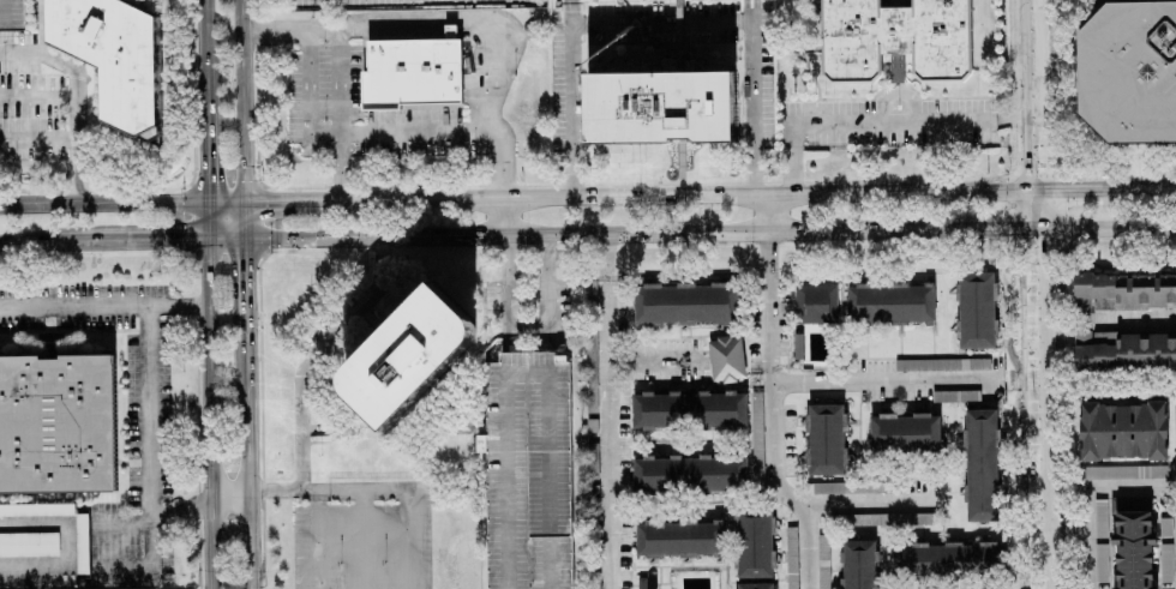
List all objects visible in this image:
building: (11, 13)
parking garage: (11, 13)
road: (658, 25)
road: (445, 26)
road: (272, 31)
building: (894, 40)
building: (118, 55)
road: (203, 58)
building: (410, 72)
building: (1129, 72)
road: (306, 83)
road: (78, 95)
flagpole: (823, 95)
flagpole: (832, 95)
road: (1033, 95)
road: (568, 97)
road: (749, 100)
road: (241, 101)
building: (92, 106)
building: (659, 107)
flagpole: (896, 107)
road: (335, 115)
road: (876, 120)
parking lot: (892, 122)
road: (40, 131)
road: (396, 133)
road: (498, 163)
traffic signals: (1034, 172)
road: (204, 176)
traffic signals: (205, 185)
road: (1148, 188)
traffic signals: (1070, 190)
road: (1078, 190)
road: (678, 194)
road: (263, 202)
traffic signals: (266, 202)
road: (102, 203)
road: (1036, 209)
road: (764, 212)
road: (498, 216)
road: (1105, 227)
road: (990, 228)
traffic signals: (1008, 228)
road: (595, 233)
traffic signals: (188, 239)
road: (167, 240)
road: (44, 245)
traffic signals: (1037, 251)
road: (611, 257)
road: (246, 263)
traffic signals: (246, 263)
building: (1124, 290)
road: (770, 300)
building: (685, 303)
building: (815, 303)
building: (889, 303)
road: (101, 306)
building: (976, 309)
road: (1128, 315)
road: (340, 327)
road: (523, 336)
building: (1124, 350)
building: (410, 356)
road: (656, 359)
building: (726, 359)
building: (941, 363)
road: (888, 377)
road: (1020, 379)
building: (953, 396)
road: (1040, 408)
building: (689, 410)
road: (206, 413)
building: (56, 423)
building: (1122, 431)
building: (904, 433)
road: (614, 434)
building: (826, 439)
road: (778, 446)
road: (246, 457)
building: (980, 464)
road: (151, 468)
building: (528, 470)
building: (1121, 471)
building: (689, 473)
road: (1099, 485)
building: (844, 487)
road: (259, 493)
road: (827, 501)
road: (364, 509)
building: (36, 510)
building: (1099, 517)
road: (120, 523)
road: (44, 524)
building: (1164, 527)
road: (1086, 536)
parking lot: (368, 537)
building: (679, 537)
building: (1132, 542)
building: (29, 543)
building: (752, 543)
building: (946, 560)
building: (822, 563)
building: (1165, 563)
building: (858, 564)
road: (44, 567)
building: (754, 585)

